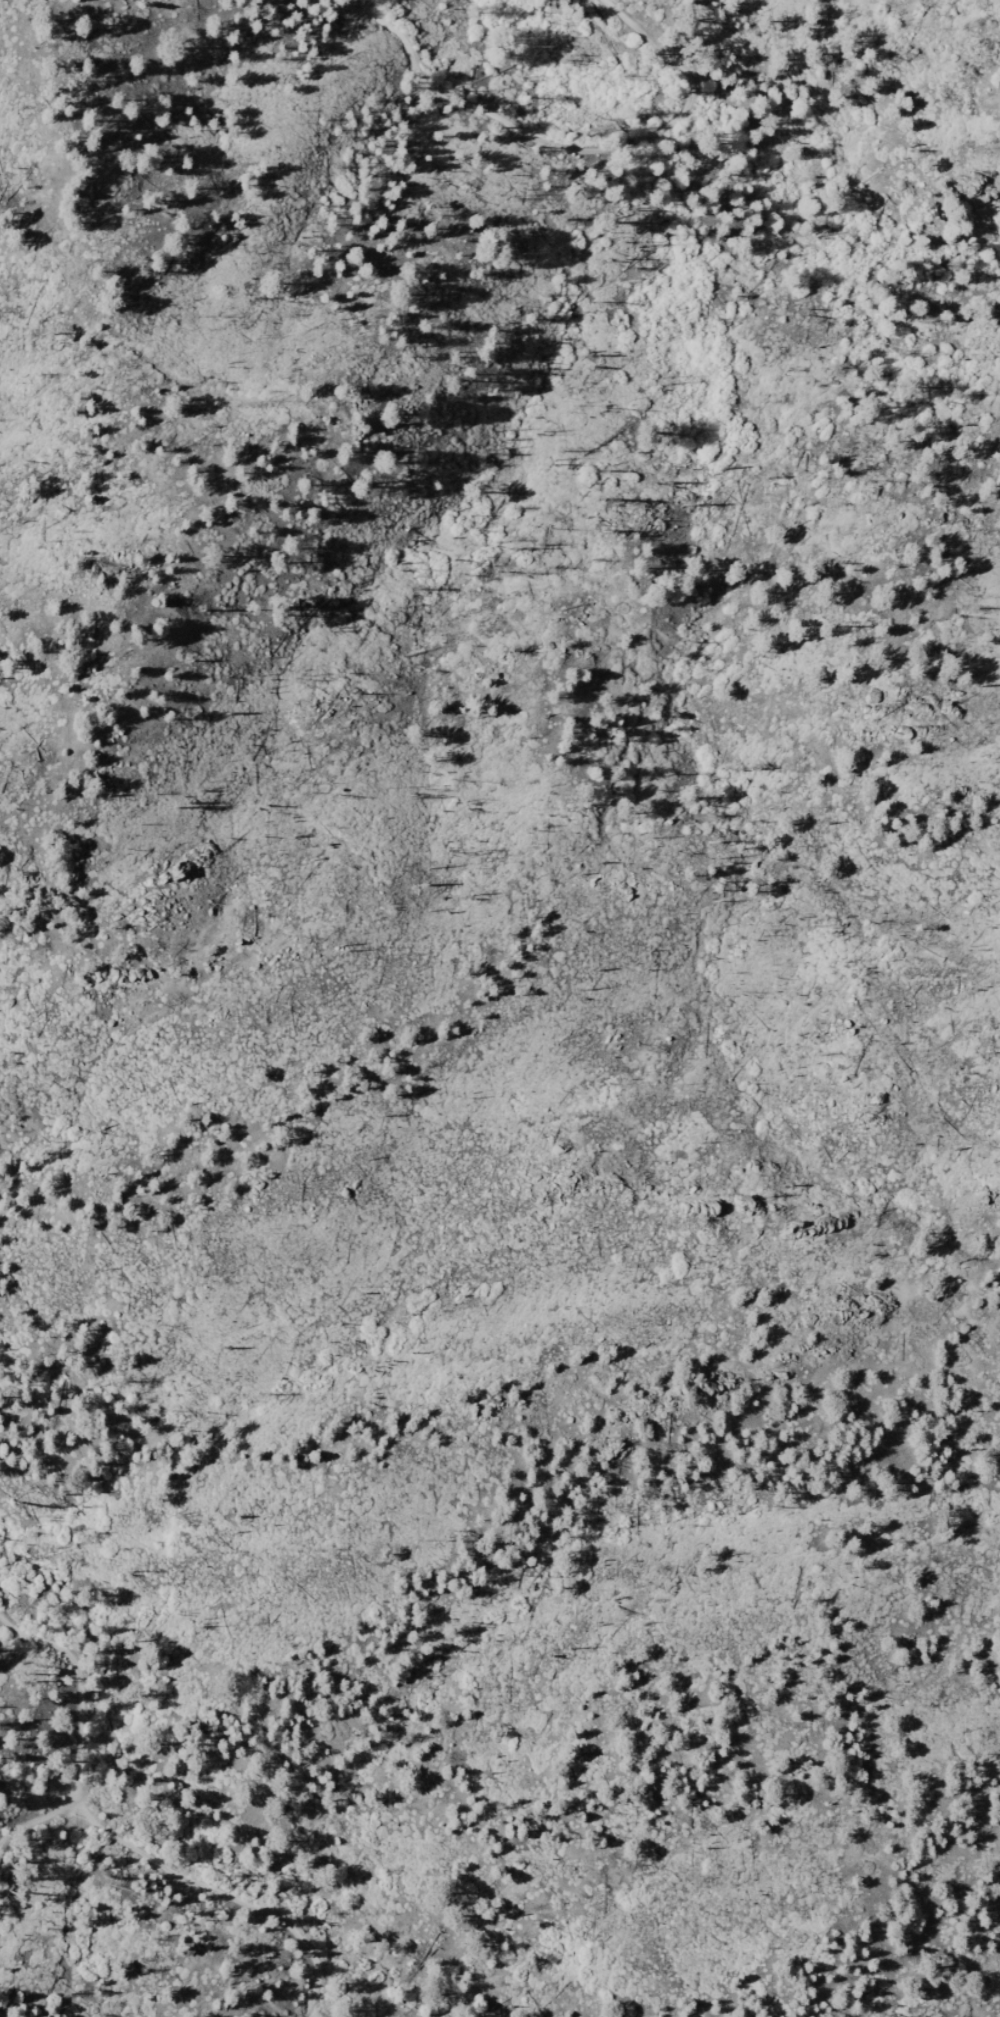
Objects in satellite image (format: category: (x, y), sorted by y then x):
road: (386, 22)
road: (658, 45)
road: (546, 144)
road: (31, 1808)
road: (121, 1841)

